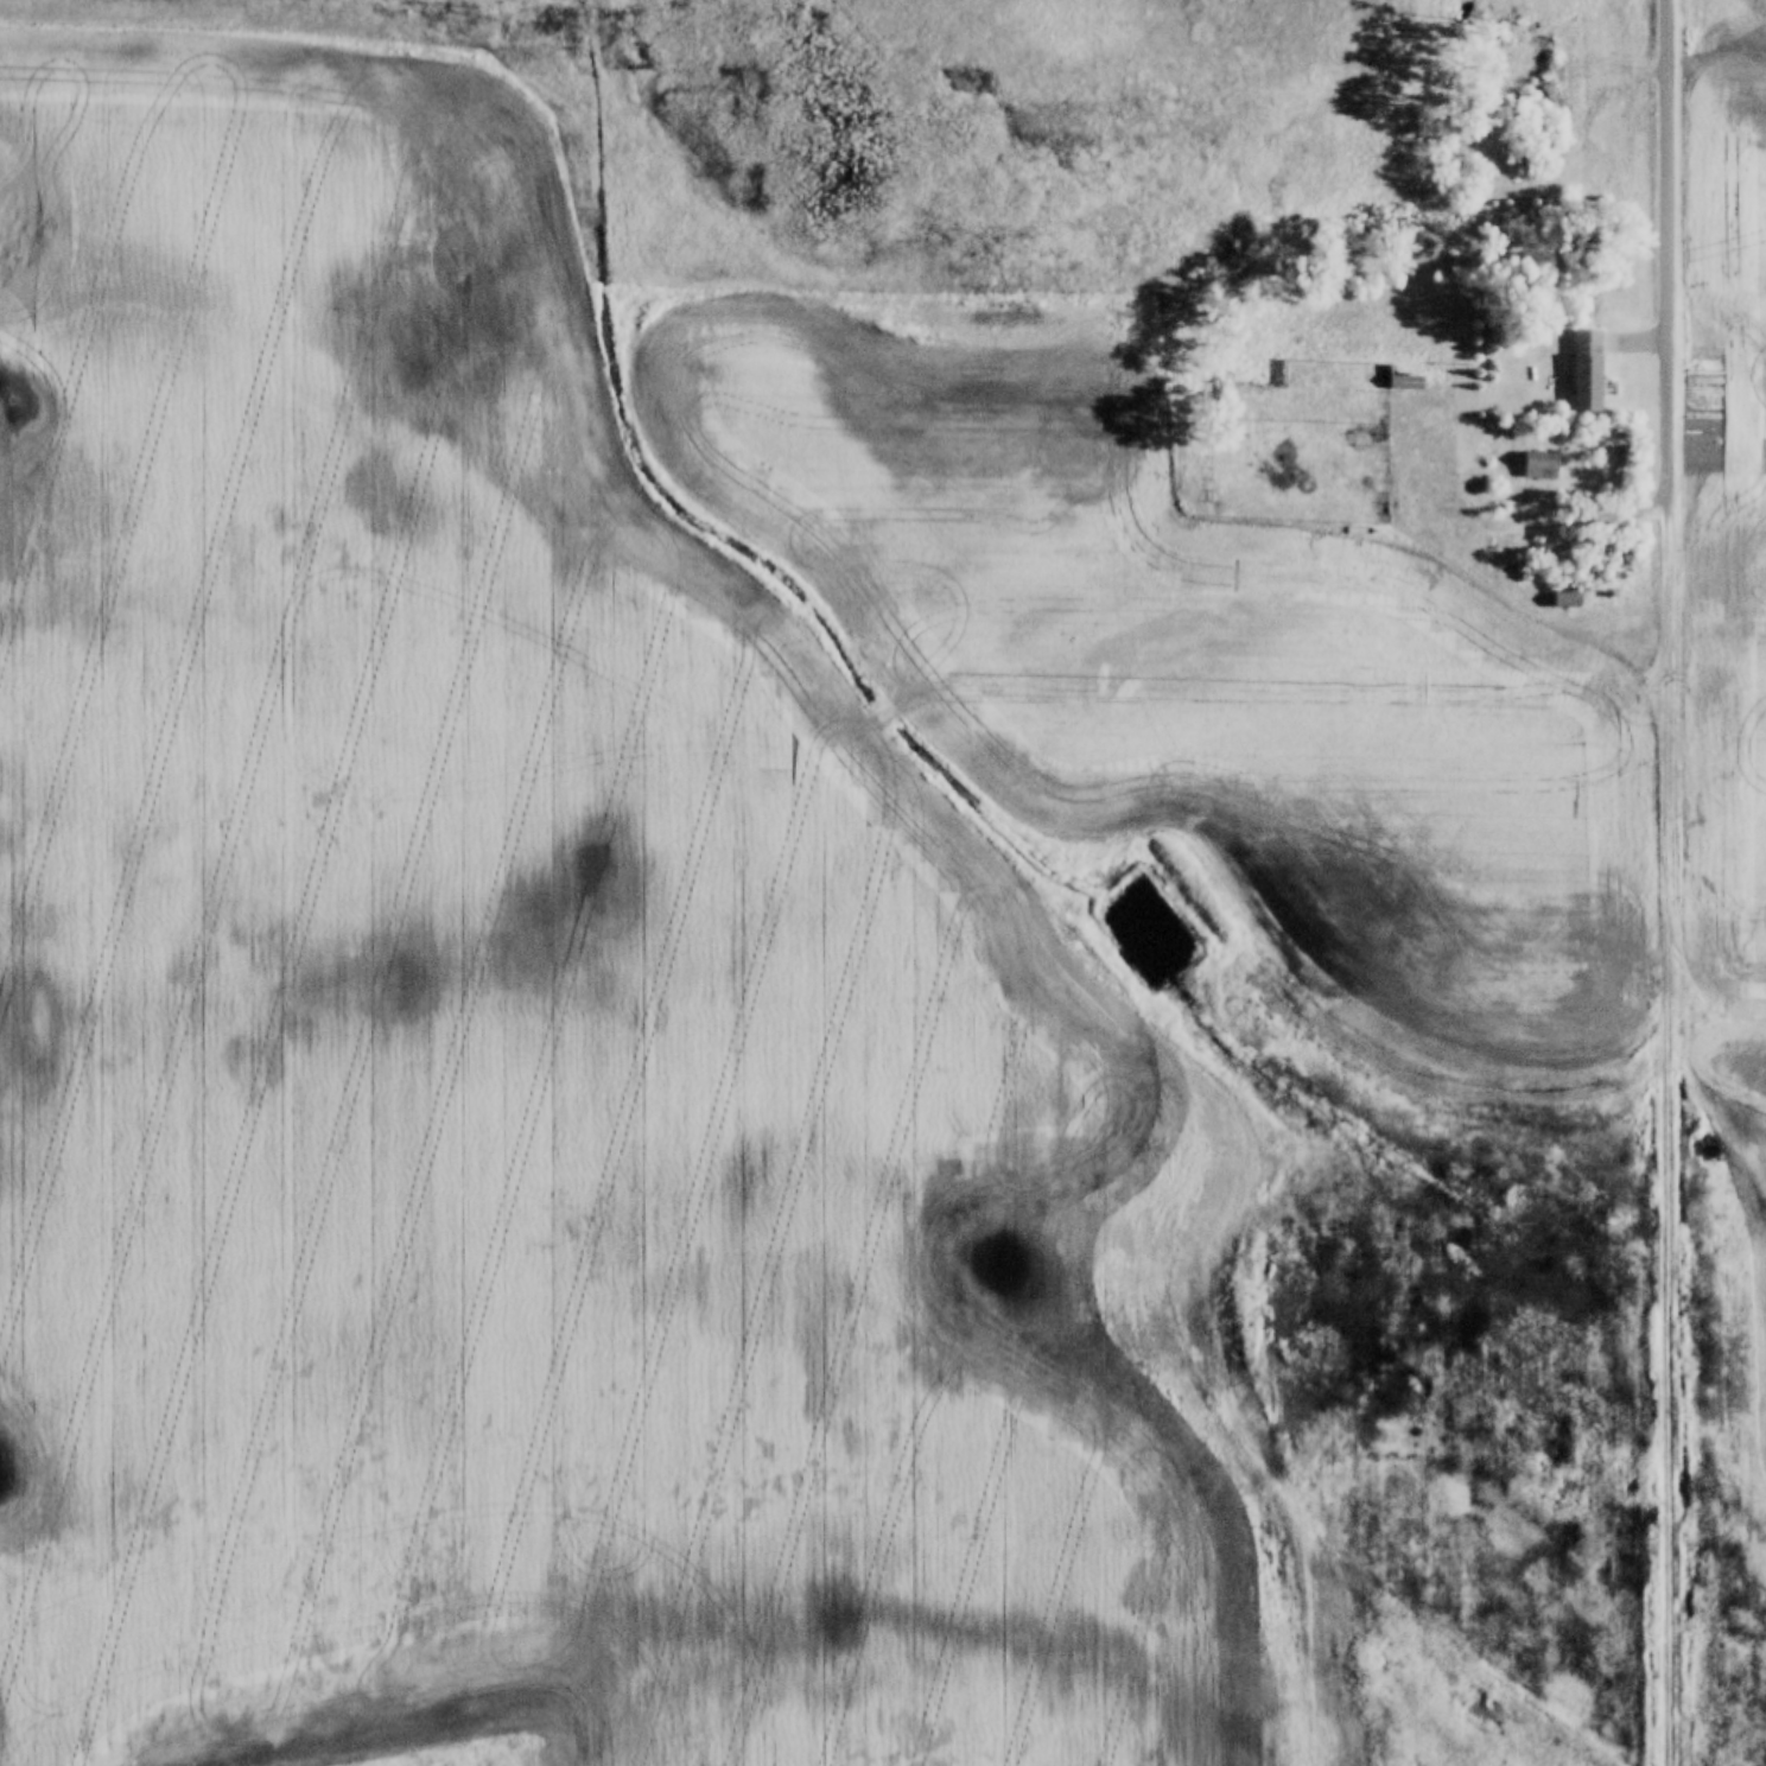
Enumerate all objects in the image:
road: (1664, 243)
road: (1638, 332)
building: (1593, 367)
building: (1539, 466)
road: (1436, 531)
building: (1499, 559)
building: (1567, 601)
road: (1664, 1125)

